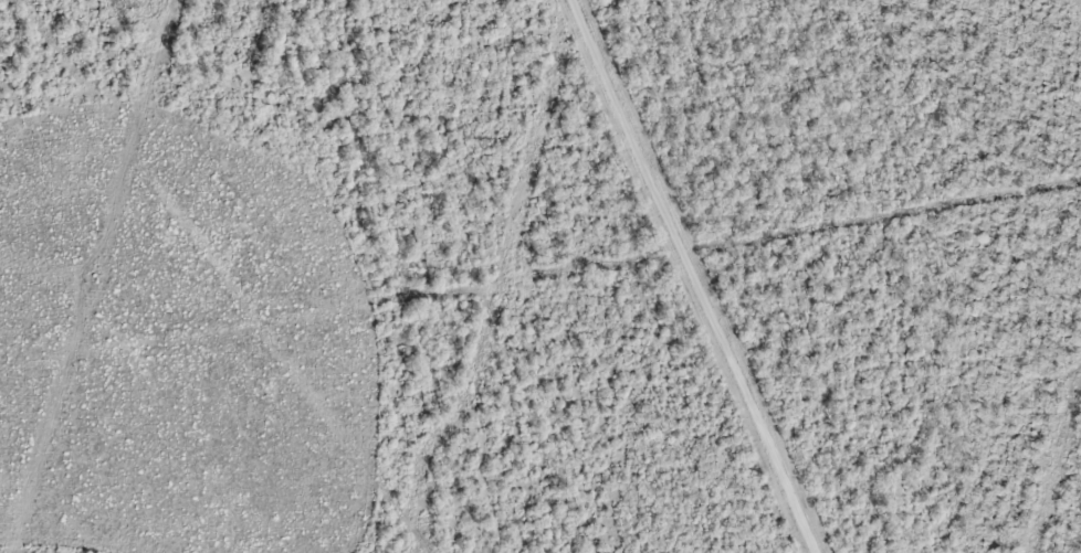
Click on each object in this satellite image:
road: (700, 274)

